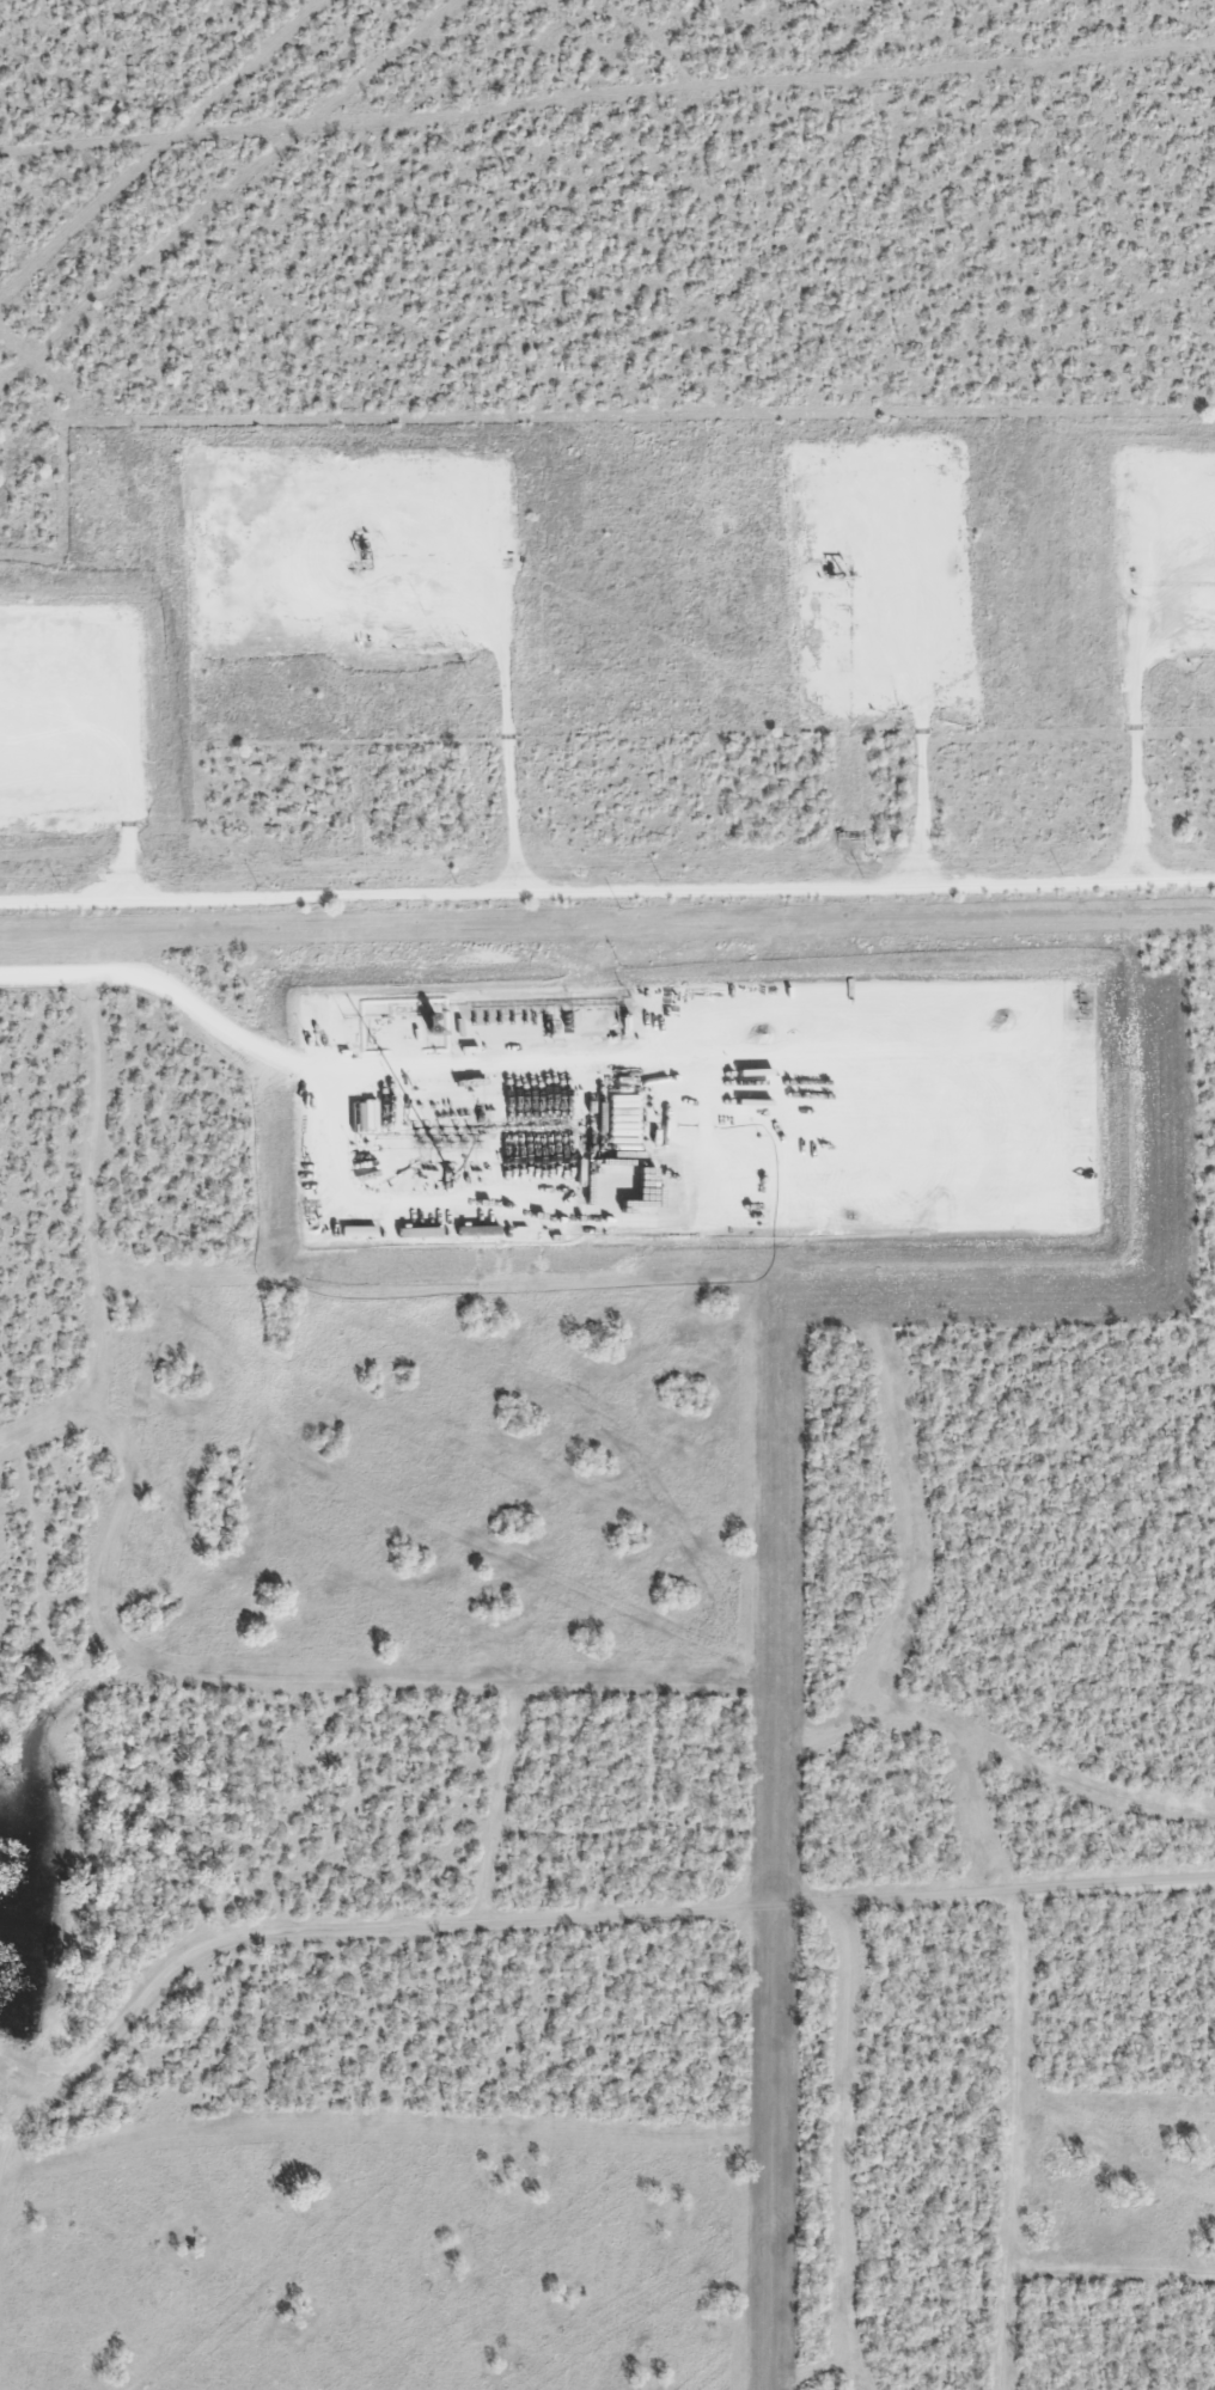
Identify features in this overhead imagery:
road: (505, 744)
road: (920, 790)
road: (607, 884)

